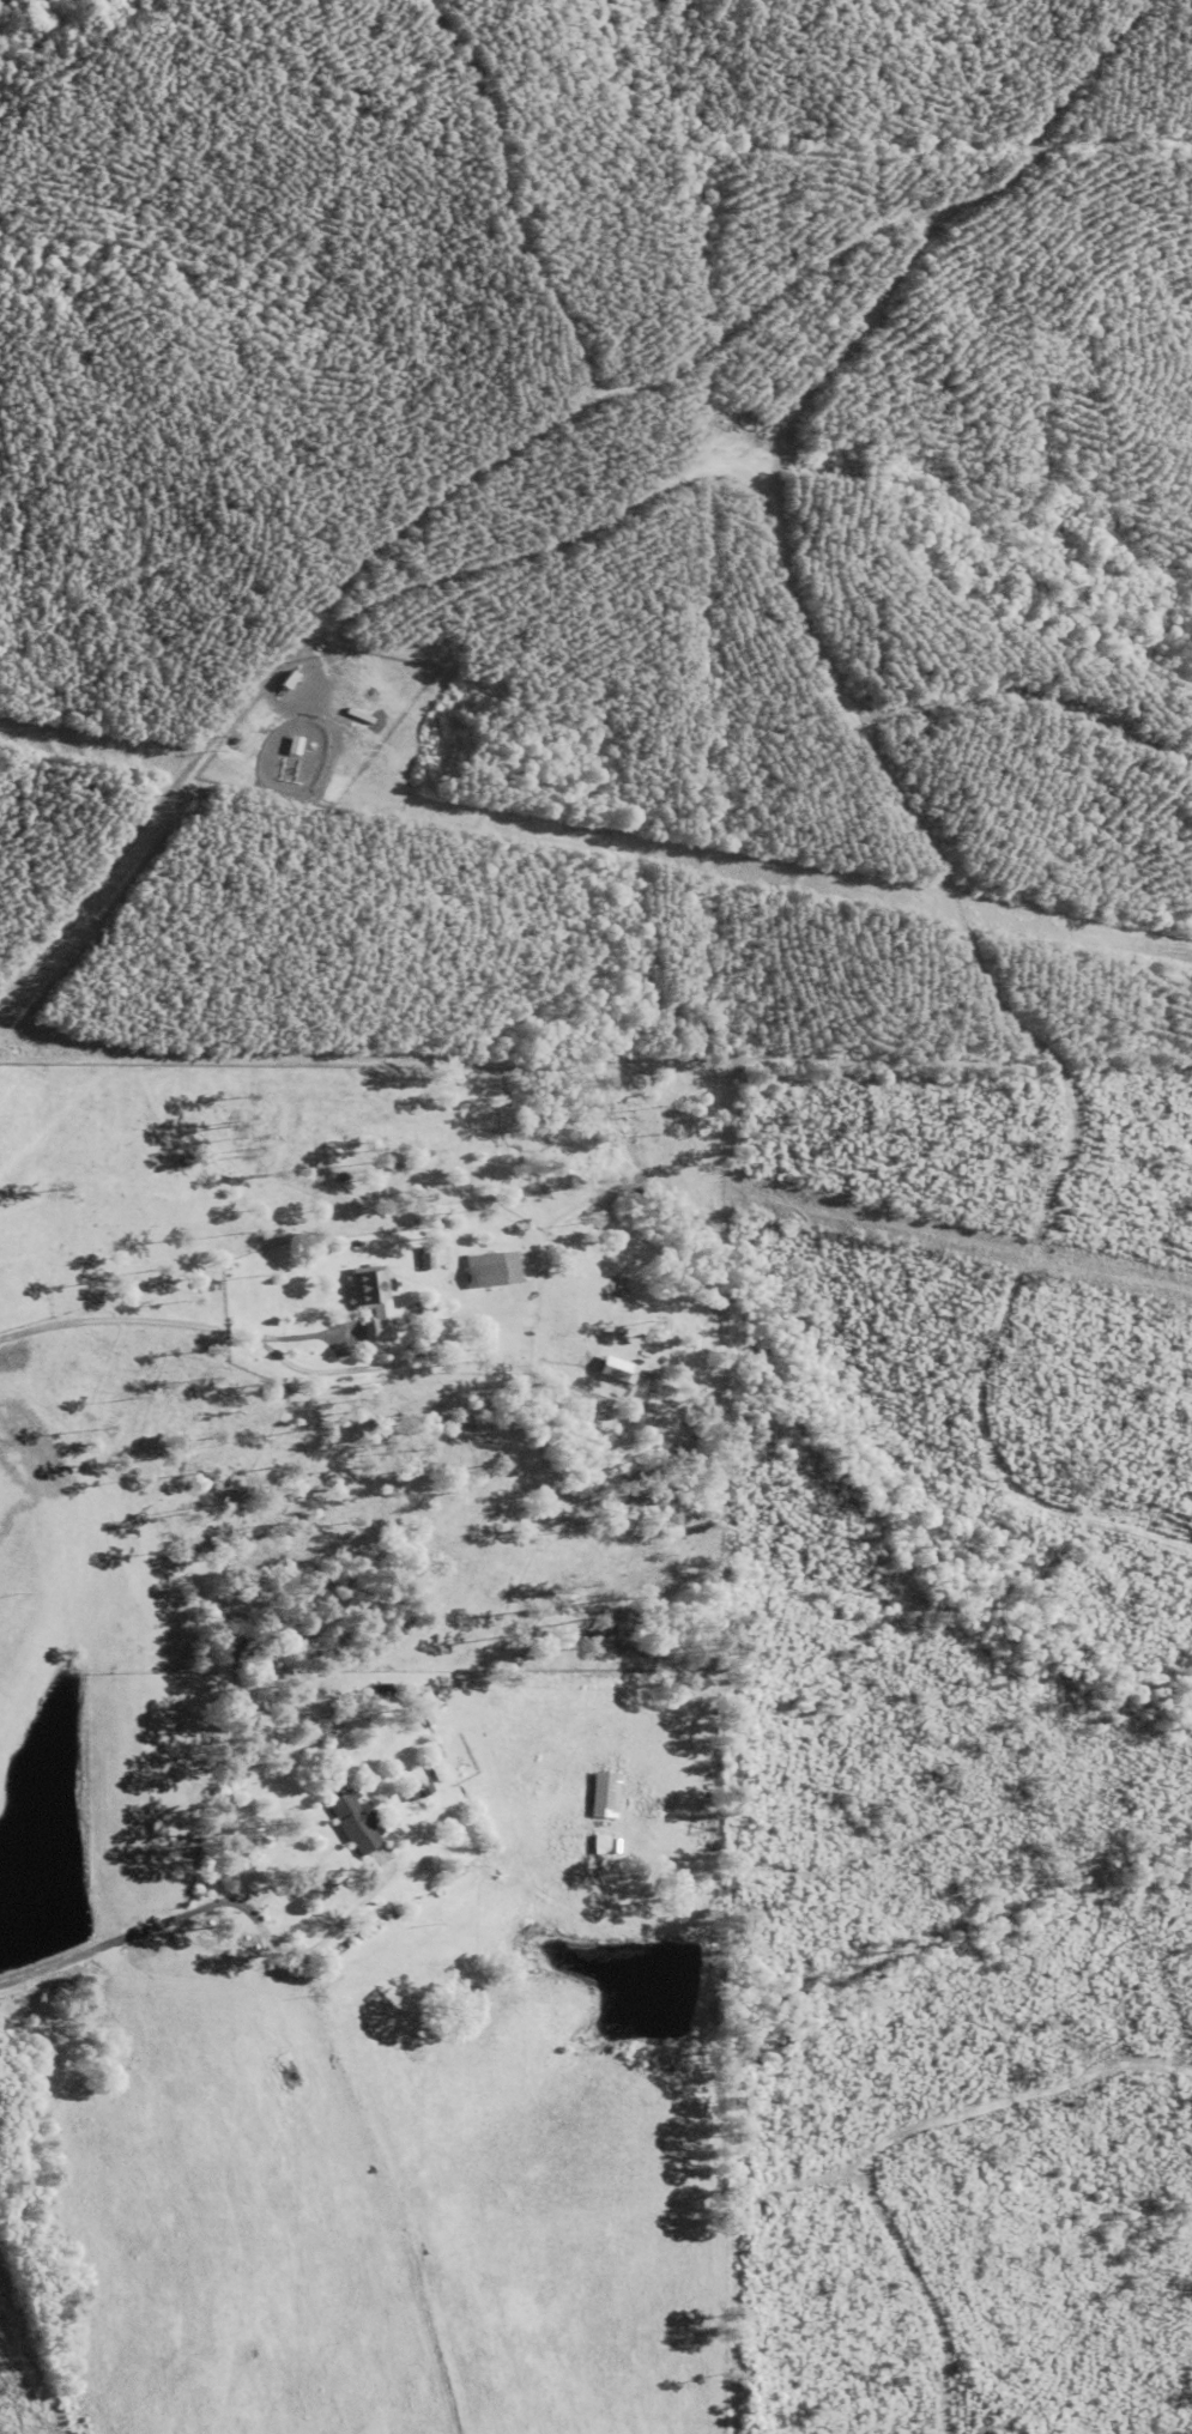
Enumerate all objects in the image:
road: (104, 878)
building: (491, 1269)
building: (370, 1298)
road: (156, 1325)
building: (604, 1794)
building: (353, 1821)
road: (126, 1937)
road: (314, 1945)

